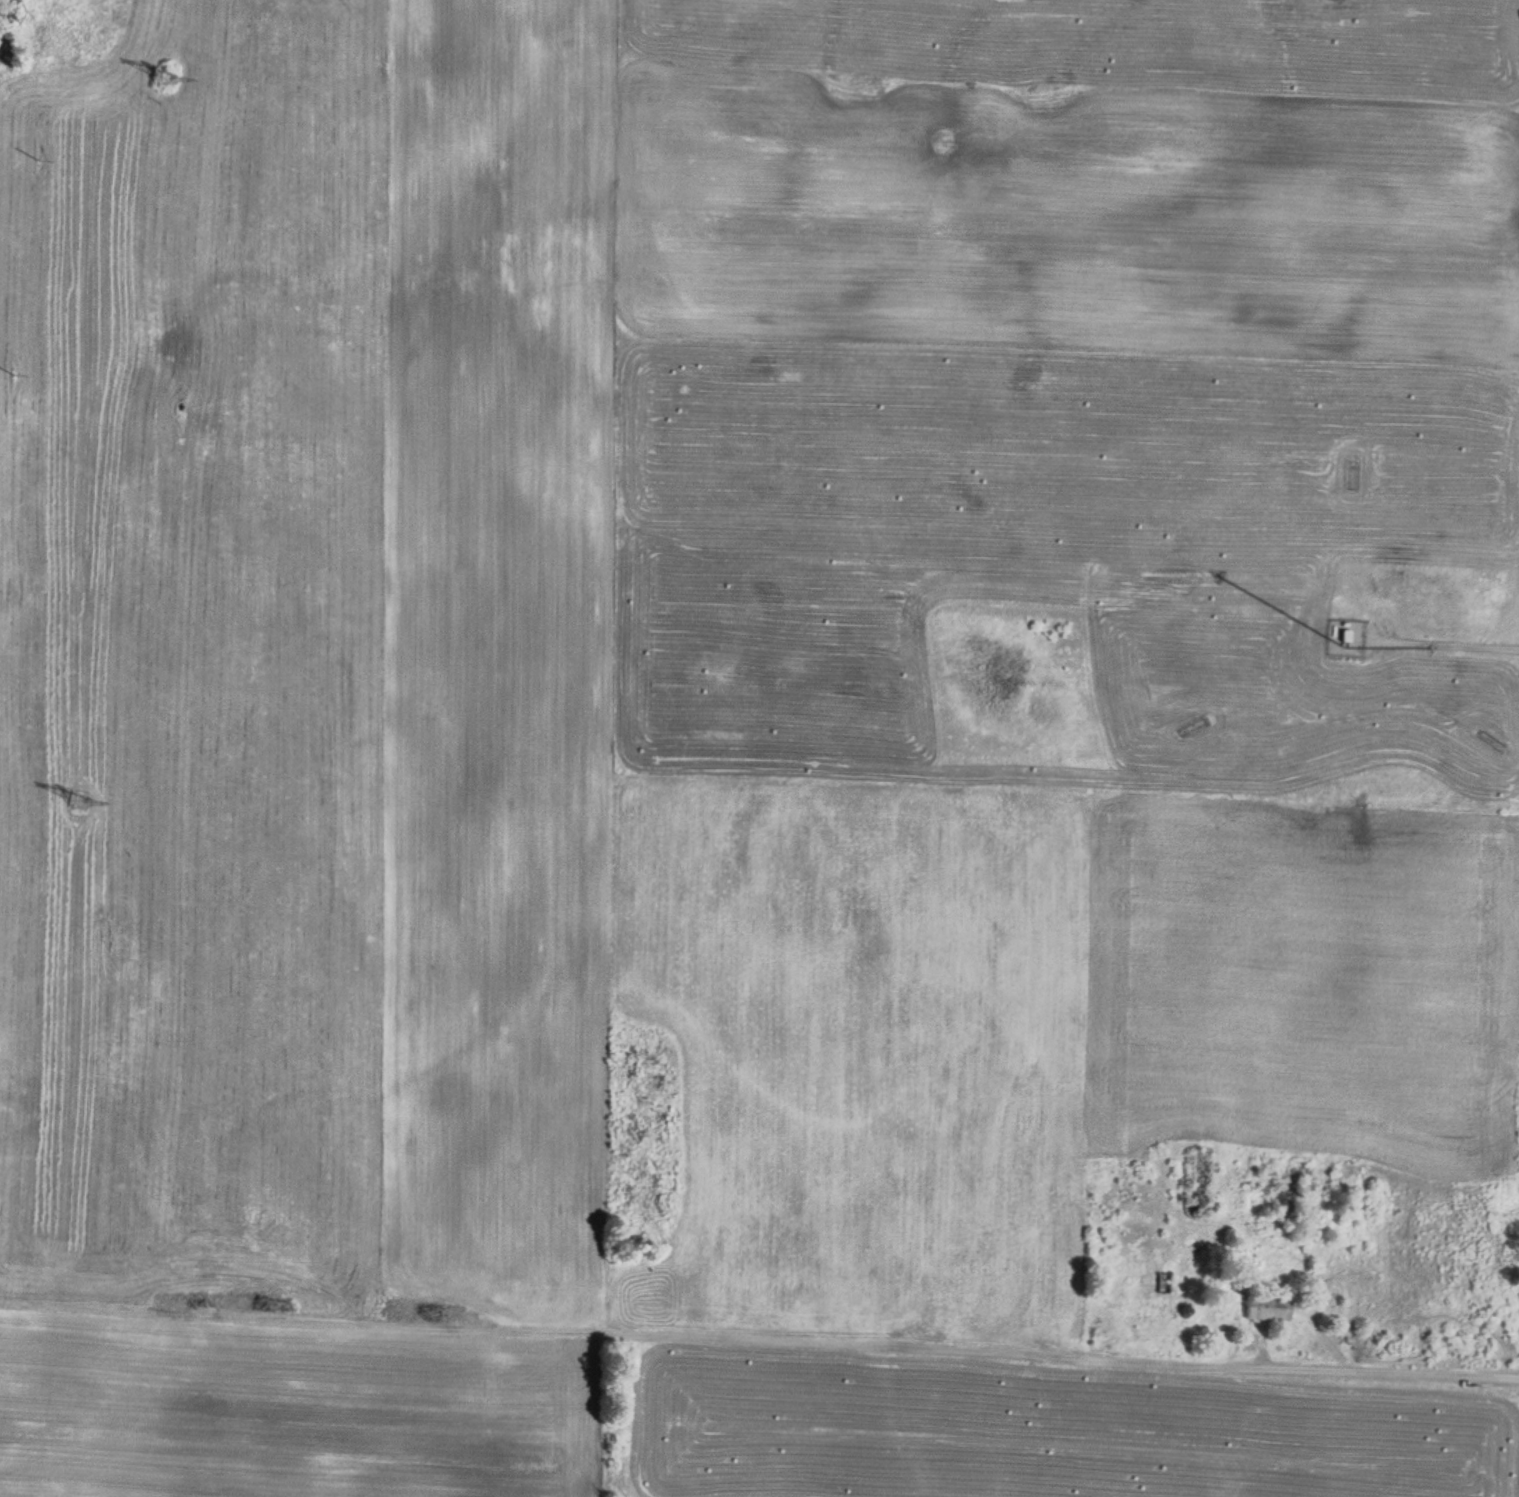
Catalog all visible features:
power tower: (164, 75)
power tower: (82, 798)
building: (1267, 1308)
road: (1197, 1358)

